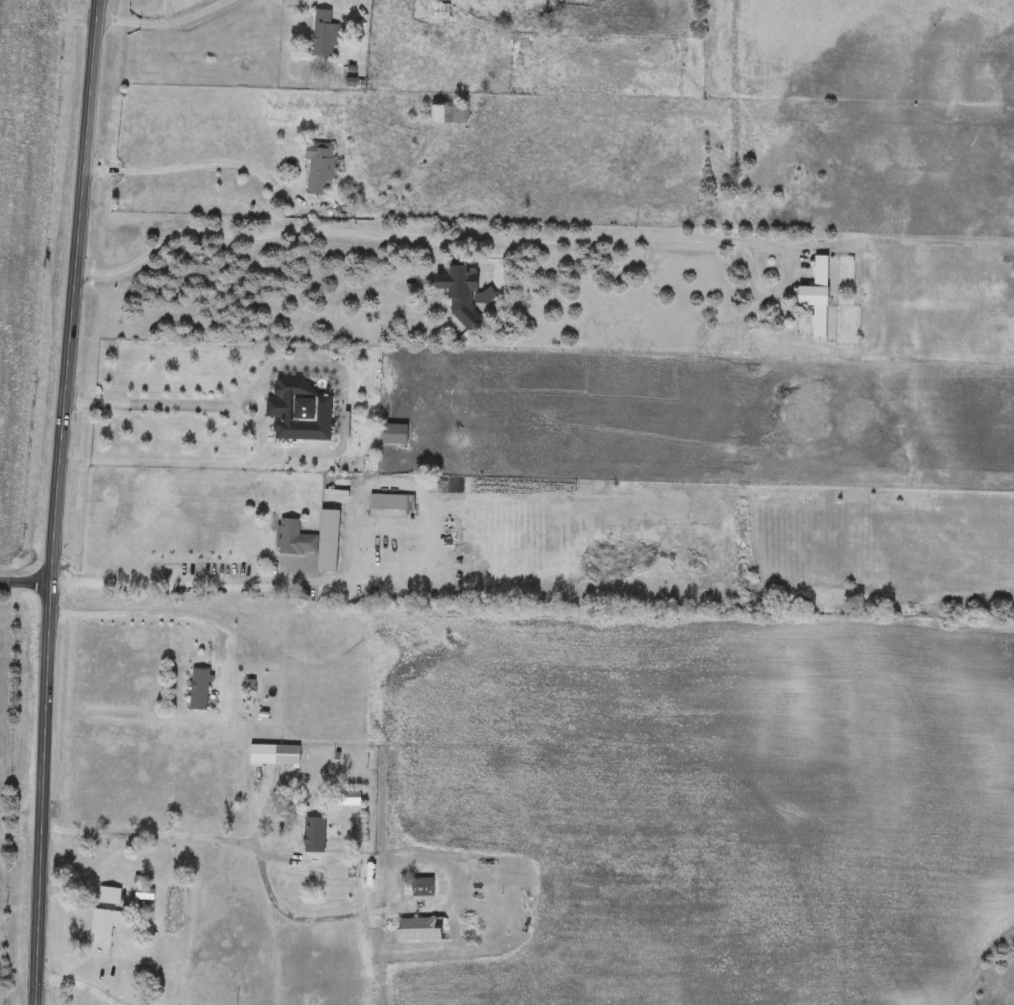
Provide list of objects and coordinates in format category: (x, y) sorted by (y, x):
building: (442, 11)
road: (161, 23)
building: (323, 34)
building: (493, 103)
building: (448, 114)
road: (199, 165)
building: (319, 166)
road: (475, 238)
building: (464, 290)
building: (821, 295)
road: (156, 404)
building: (300, 411)
building: (396, 434)
road: (56, 502)
building: (389, 506)
building: (294, 538)
building: (329, 541)
road: (25, 570)
road: (251, 578)
road: (144, 608)
building: (199, 689)
building: (275, 755)
road: (236, 833)
building: (314, 835)
building: (418, 886)
building: (110, 895)
building: (104, 923)
building: (421, 928)
road: (77, 983)

